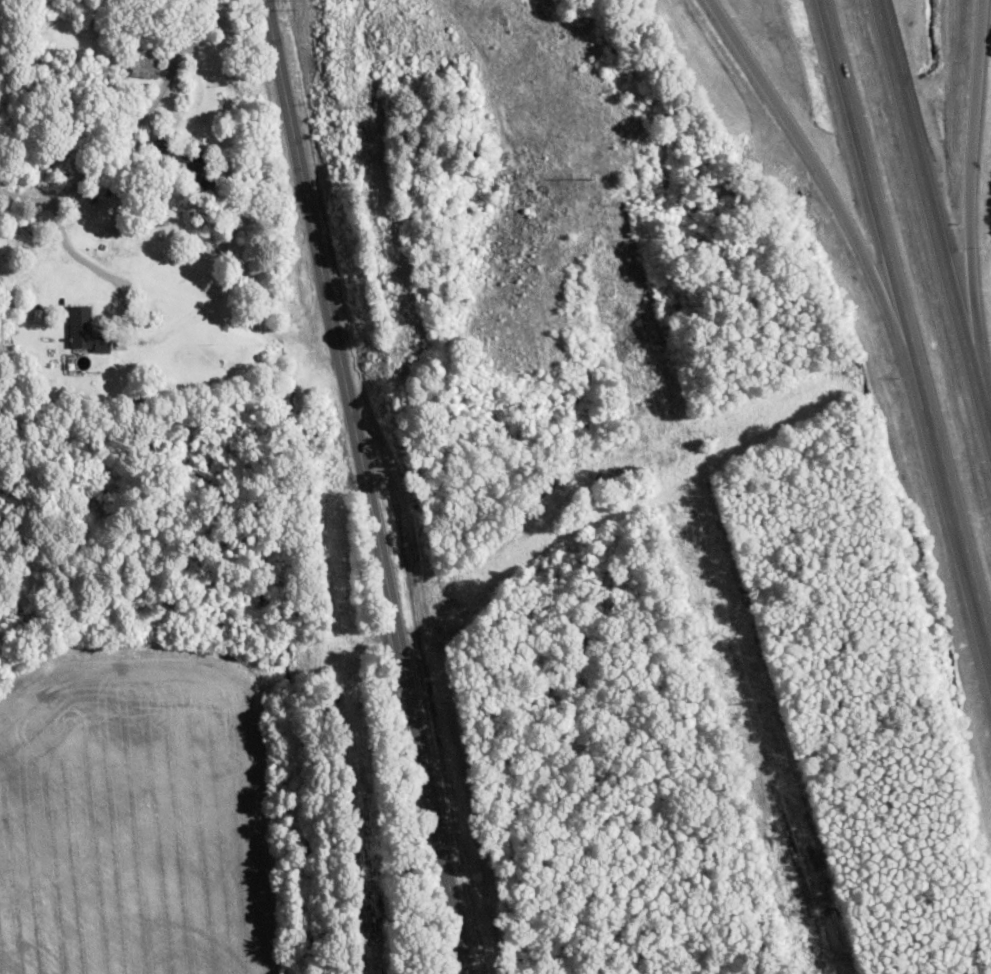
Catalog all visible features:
building: (144, 67)
road: (125, 130)
building: (185, 161)
power tower: (587, 176)
road: (839, 207)
road: (933, 224)
road: (964, 224)
road: (906, 325)
building: (84, 330)
road: (367, 487)
power tower: (746, 701)

